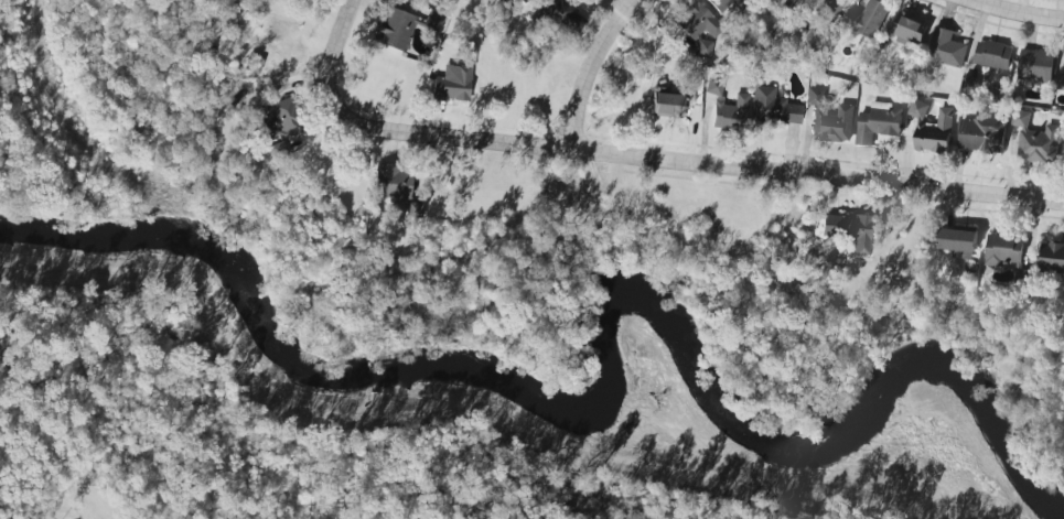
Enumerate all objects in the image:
road: (617, 2)
building: (722, 3)
building: (826, 9)
road: (1018, 12)
building: (560, 14)
road: (343, 15)
building: (867, 18)
building: (431, 22)
building: (698, 26)
building: (909, 26)
building: (394, 29)
building: (945, 48)
building: (992, 54)
building: (252, 64)
building: (1035, 64)
road: (587, 71)
building: (1060, 82)
building: (451, 85)
building: (712, 86)
building: (666, 104)
building: (772, 107)
building: (728, 112)
building: (283, 116)
building: (830, 117)
building: (878, 121)
building: (933, 129)
building: (982, 132)
building: (1034, 140)
building: (1063, 149)
road: (665, 158)
building: (390, 182)
building: (568, 197)
building: (848, 229)
building: (958, 241)
building: (1006, 251)
building: (1052, 256)
river: (602, 357)

